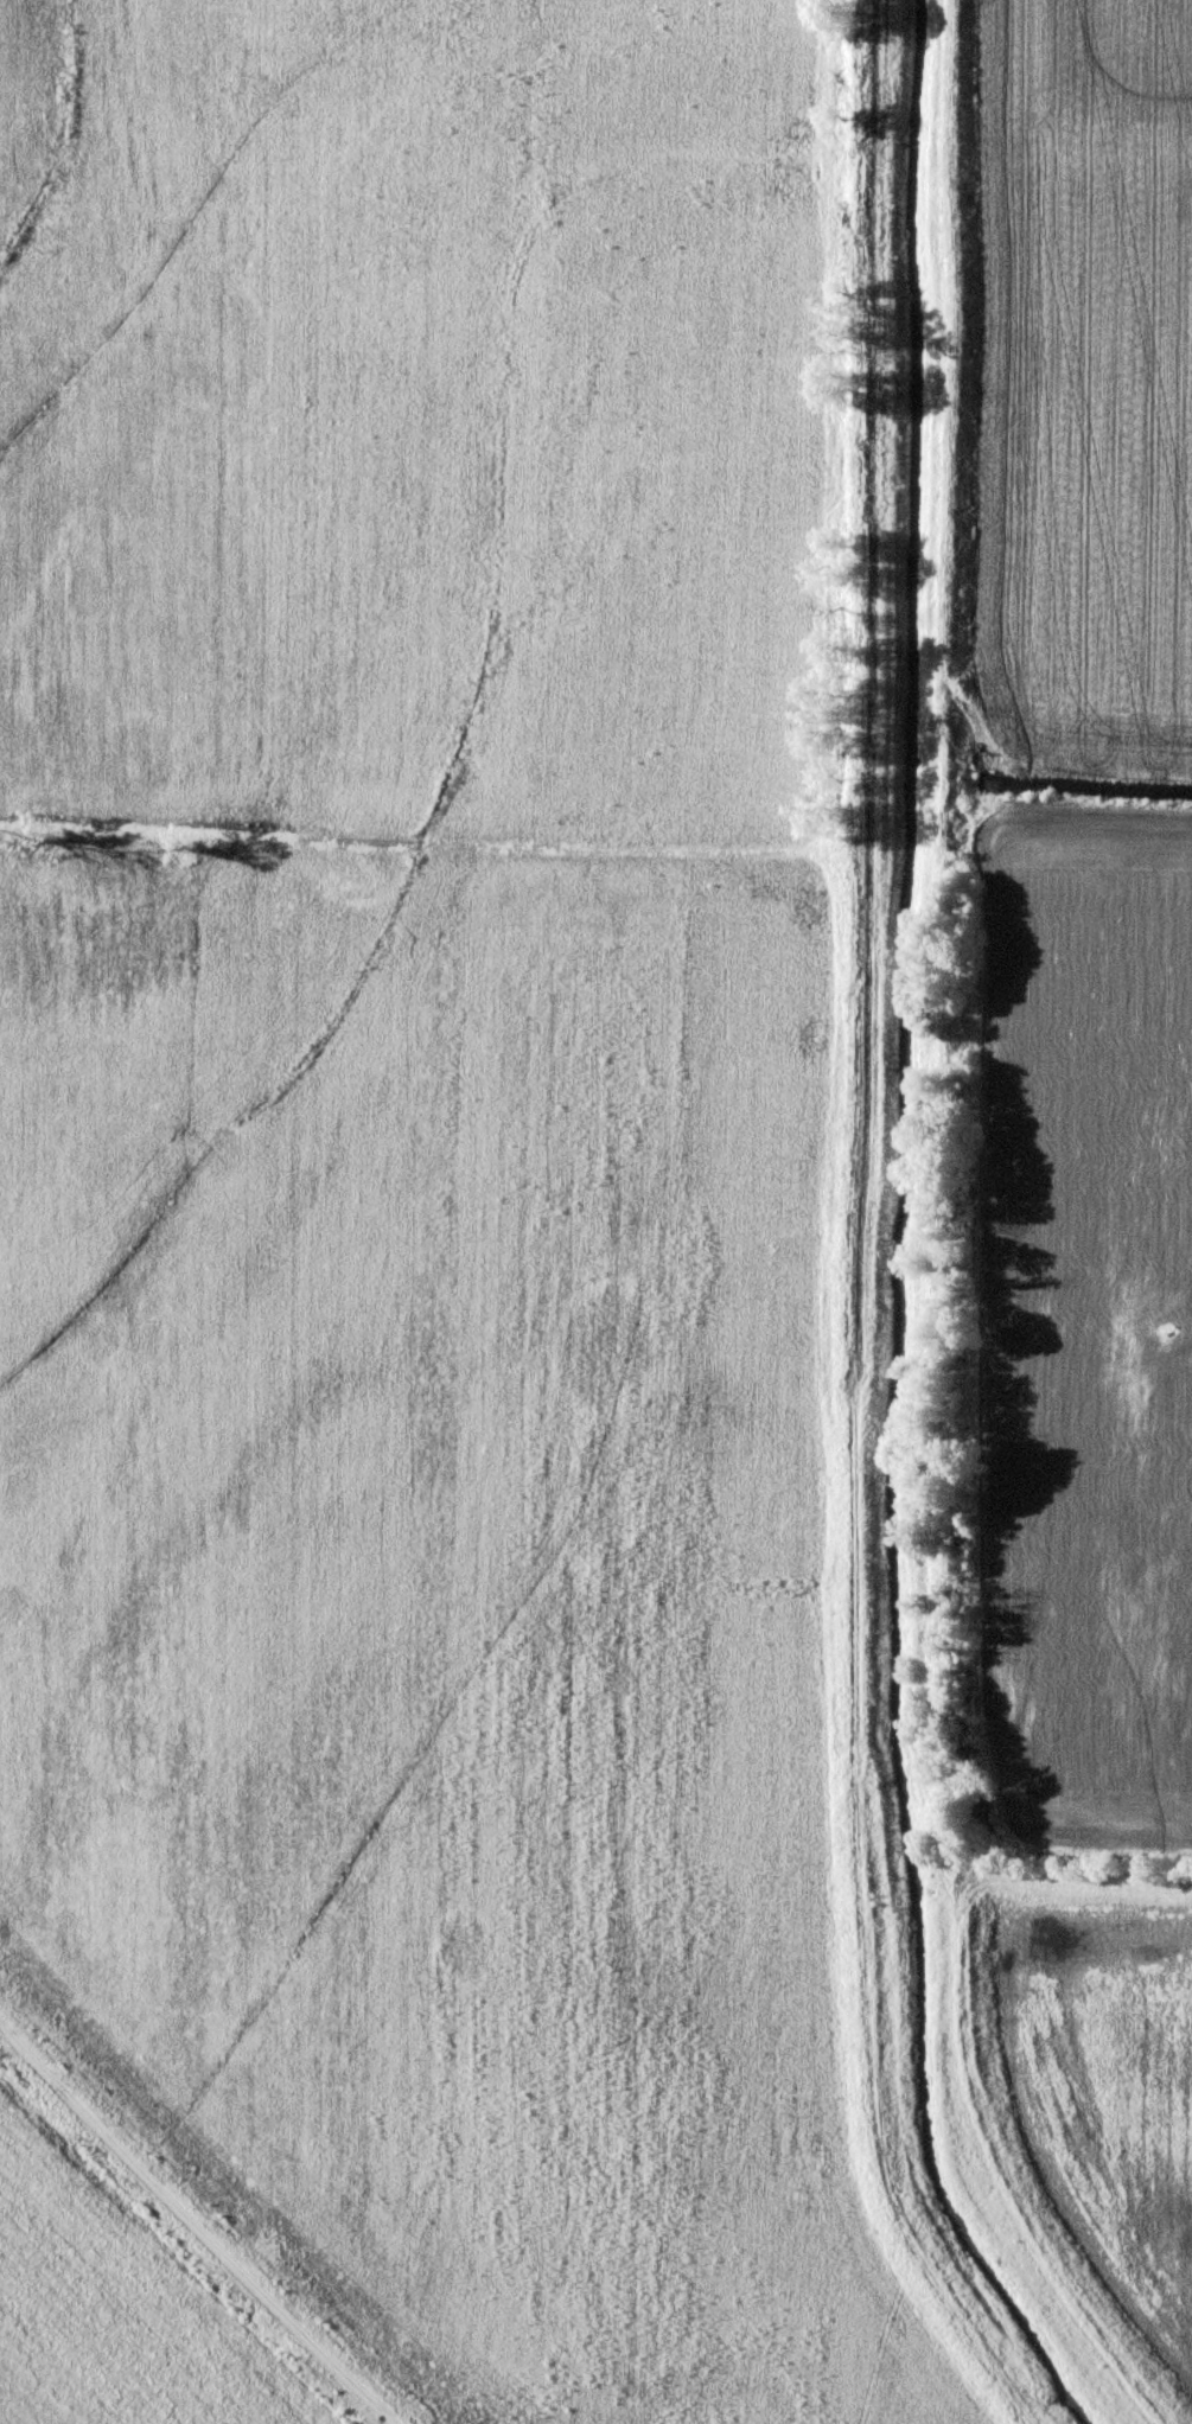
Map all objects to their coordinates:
road: (193, 2227)

